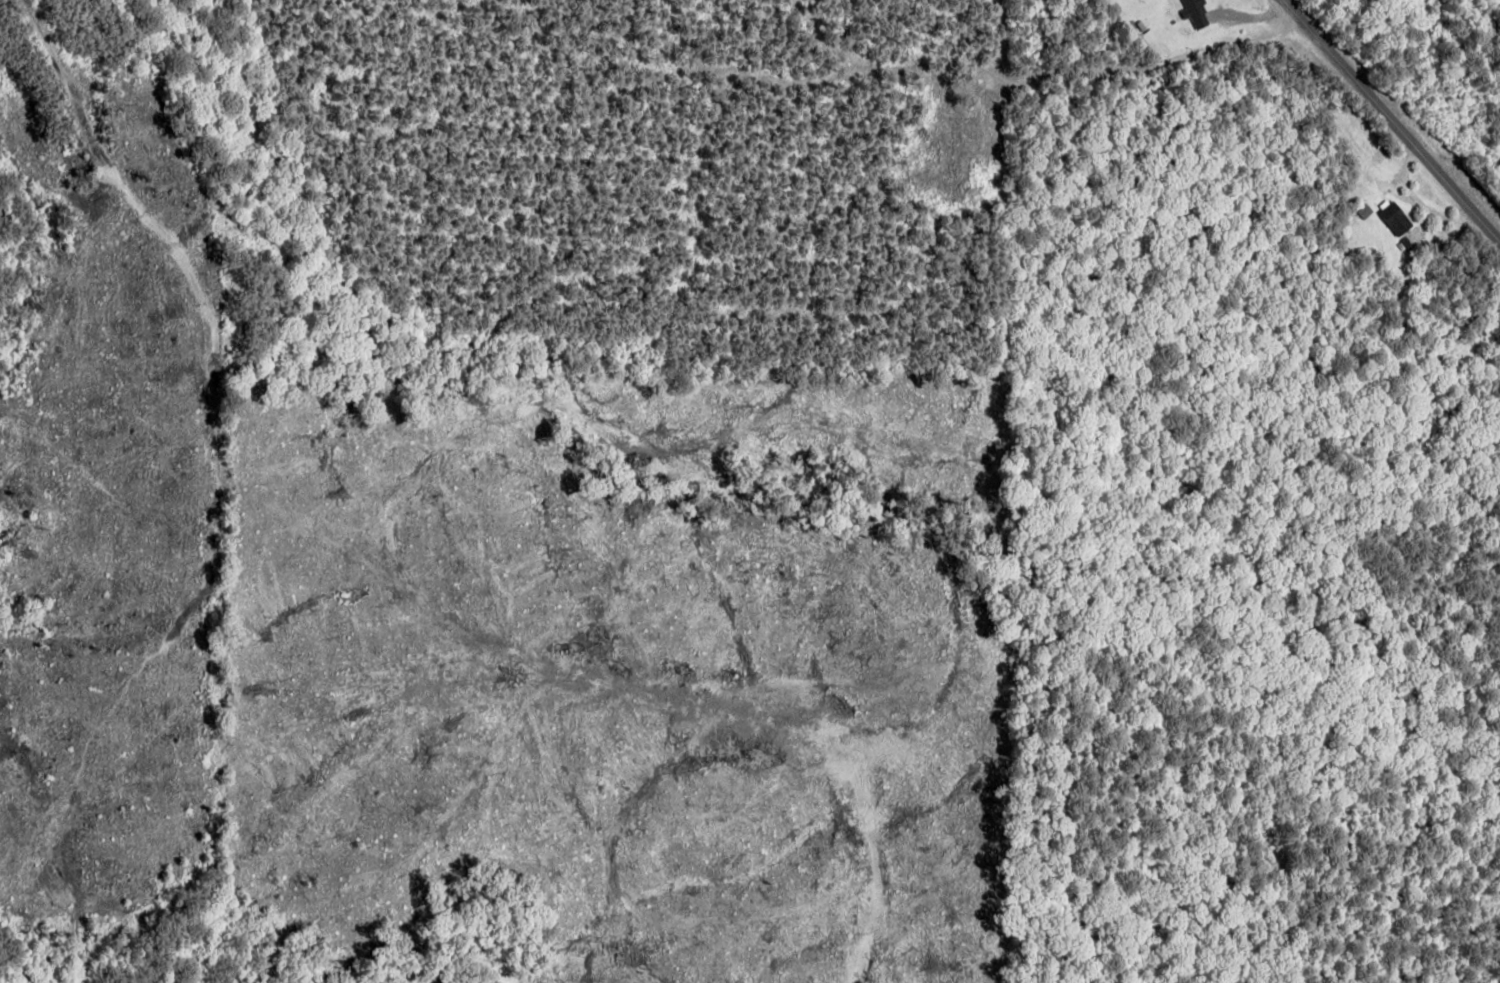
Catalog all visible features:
building: (1194, 13)
road: (1373, 119)
building: (1394, 217)

